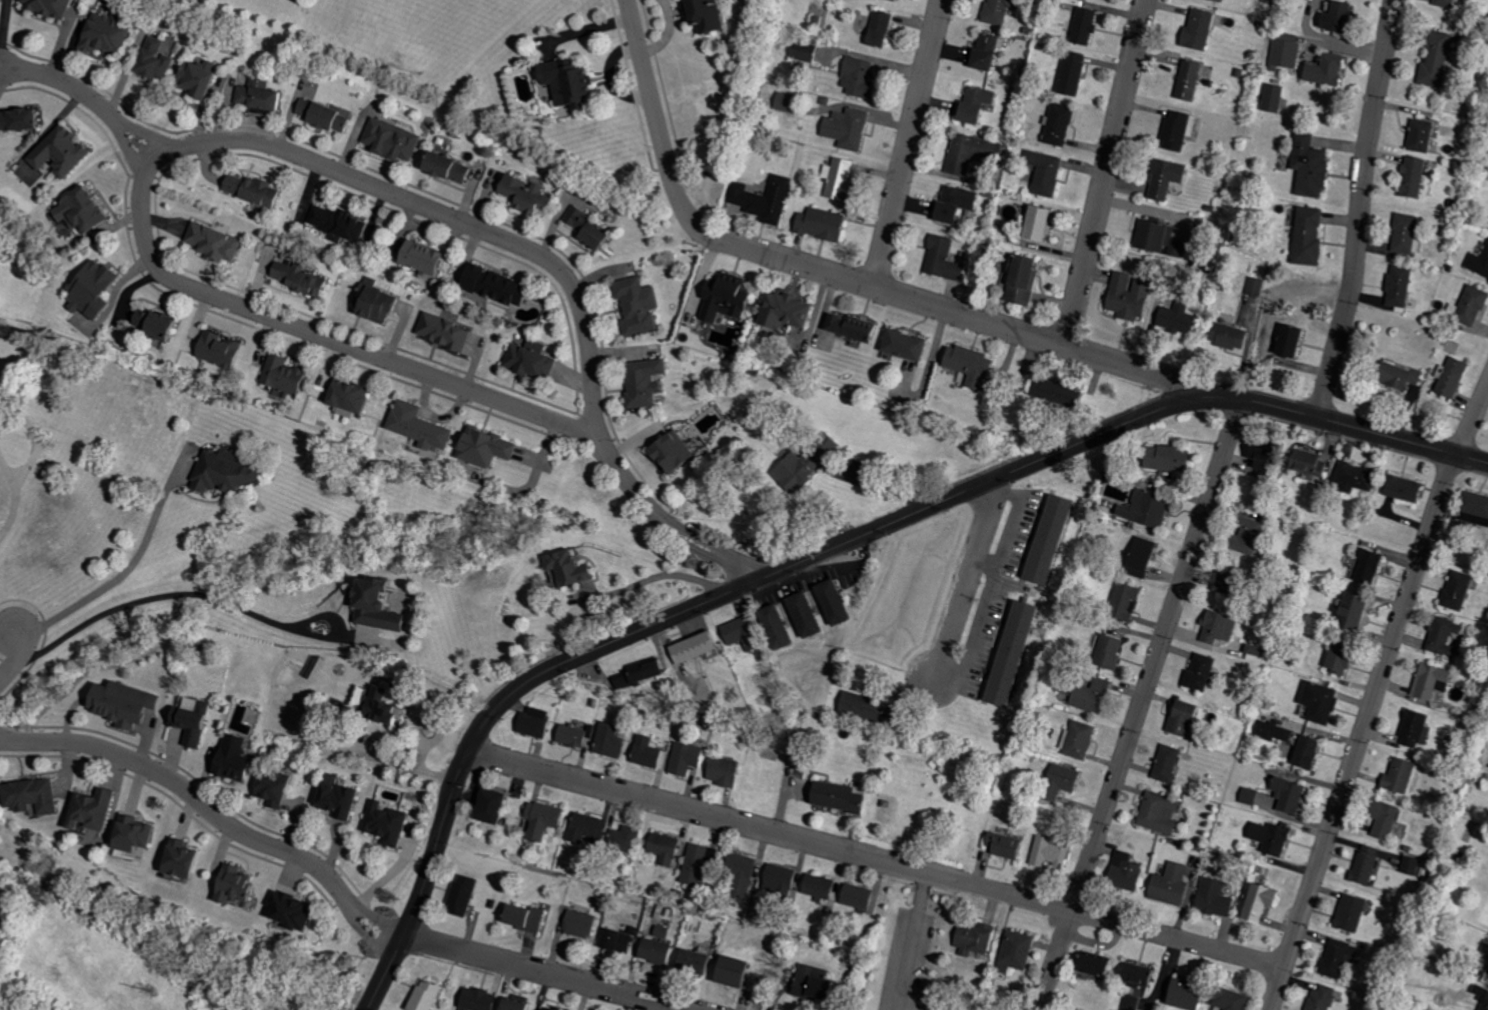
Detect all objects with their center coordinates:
building: (889, 0)
building: (1218, 1)
building: (1442, 3)
building: (52, 6)
building: (995, 11)
building: (714, 16)
building: (1333, 18)
building: (1082, 27)
building: (876, 29)
building: (1196, 31)
building: (109, 34)
building: (803, 51)
building: (982, 53)
building: (1433, 60)
building: (159, 61)
building: (1324, 70)
building: (1070, 74)
building: (855, 77)
building: (204, 78)
building: (1187, 80)
building: (574, 83)
building: (264, 97)
building: (1273, 99)
road: (92, 101)
building: (972, 104)
building: (329, 115)
road: (655, 119)
building: (22, 120)
building: (1058, 125)
building: (844, 128)
road: (141, 132)
building: (1174, 132)
building: (1418, 136)
building: (396, 141)
road: (908, 143)
building: (65, 152)
building: (969, 153)
building: (452, 167)
building: (1307, 167)
road: (1105, 172)
building: (1043, 173)
building: (1411, 178)
building: (837, 179)
building: (1163, 179)
building: (257, 190)
building: (530, 196)
building: (762, 200)
building: (953, 204)
building: (86, 210)
road: (1360, 211)
road: (435, 212)
building: (343, 222)
building: (817, 224)
building: (1035, 224)
building: (594, 230)
building: (1403, 234)
building: (1305, 236)
building: (1155, 238)
building: (218, 242)
building: (430, 258)
building: (941, 259)
building: (1478, 262)
building: (304, 278)
building: (1018, 282)
building: (501, 286)
building: (1396, 286)
building: (1254, 287)
building: (97, 290)
building: (1126, 296)
building: (723, 297)
building: (635, 305)
building: (1470, 306)
building: (779, 312)
road: (971, 315)
building: (1174, 319)
building: (162, 324)
building: (849, 328)
building: (448, 332)
building: (1225, 336)
building: (1284, 342)
building: (901, 345)
building: (225, 349)
road: (378, 358)
building: (532, 361)
building: (967, 366)
building: (1395, 375)
building: (291, 377)
building: (642, 382)
building: (1051, 393)
building: (2, 396)
building: (356, 397)
road: (1472, 420)
building: (424, 426)
building: (827, 445)
road: (35, 448)
building: (487, 448)
building: (667, 452)
building: (1164, 457)
building: (1256, 461)
building: (1304, 463)
building: (232, 470)
building: (794, 471)
building: (1353, 479)
road: (887, 484)
building: (1400, 489)
road: (14, 509)
building: (1472, 509)
building: (1142, 510)
building: (1247, 536)
building: (1046, 539)
road: (710, 545)
road: (827, 551)
road: (701, 553)
building: (1139, 557)
building: (1364, 567)
building: (566, 568)
road: (127, 569)
road: (669, 573)
road: (966, 587)
building: (1455, 590)
road: (207, 593)
building: (831, 603)
building: (1125, 603)
building: (384, 605)
building: (1347, 613)
building: (801, 615)
road: (9, 621)
building: (773, 627)
building: (1215, 628)
building: (735, 631)
building: (1442, 636)
building: (689, 649)
building: (1107, 651)
building: (1009, 653)
road: (1156, 656)
road: (17, 658)
building: (1335, 660)
building: (1197, 673)
building: (637, 674)
building: (1428, 682)
building: (1088, 695)
building: (1317, 702)
building: (129, 703)
building: (390, 705)
building: (861, 707)
building: (1179, 718)
building: (196, 720)
building: (538, 722)
building: (1413, 730)
road: (1362, 732)
building: (578, 734)
building: (1077, 740)
building: (610, 742)
building: (646, 754)
building: (1303, 755)
building: (238, 758)
building: (683, 759)
building: (1165, 764)
building: (720, 772)
building: (1397, 777)
building: (1057, 782)
building: (278, 788)
building: (37, 795)
building: (1248, 796)
building: (1285, 796)
building: (833, 797)
building: (343, 799)
building: (498, 805)
building: (97, 809)
building: (1158, 813)
road: (214, 815)
building: (547, 819)
building: (1382, 819)
building: (389, 823)
building: (592, 828)
building: (138, 833)
building: (628, 838)
building: (1268, 838)
building: (1001, 846)
building: (669, 848)
building: (1048, 853)
building: (187, 858)
road: (876, 859)
building: (699, 865)
building: (1364, 865)
building: (1409, 866)
building: (1122, 872)
building: (737, 875)
building: (776, 882)
building: (240, 884)
building: (1168, 885)
building: (815, 886)
building: (466, 895)
building: (854, 896)
building: (1213, 899)
building: (1256, 903)
building: (296, 909)
building: (1348, 914)
building: (531, 917)
road: (379, 922)
building: (583, 924)
building: (972, 939)
building: (620, 940)
road: (912, 941)
building: (1015, 950)
road: (1059, 950)
building: (659, 951)
building: (1336, 958)
building: (699, 962)
building: (1092, 965)
building: (739, 971)
road: (545, 973)
building: (1134, 975)
building: (807, 983)
building: (1480, 993)
building: (430, 995)
building: (1182, 996)
building: (1320, 997)
building: (483, 999)
building: (1228, 1000)
building: (1133, 1003)
building: (522, 1004)
building: (556, 1008)

